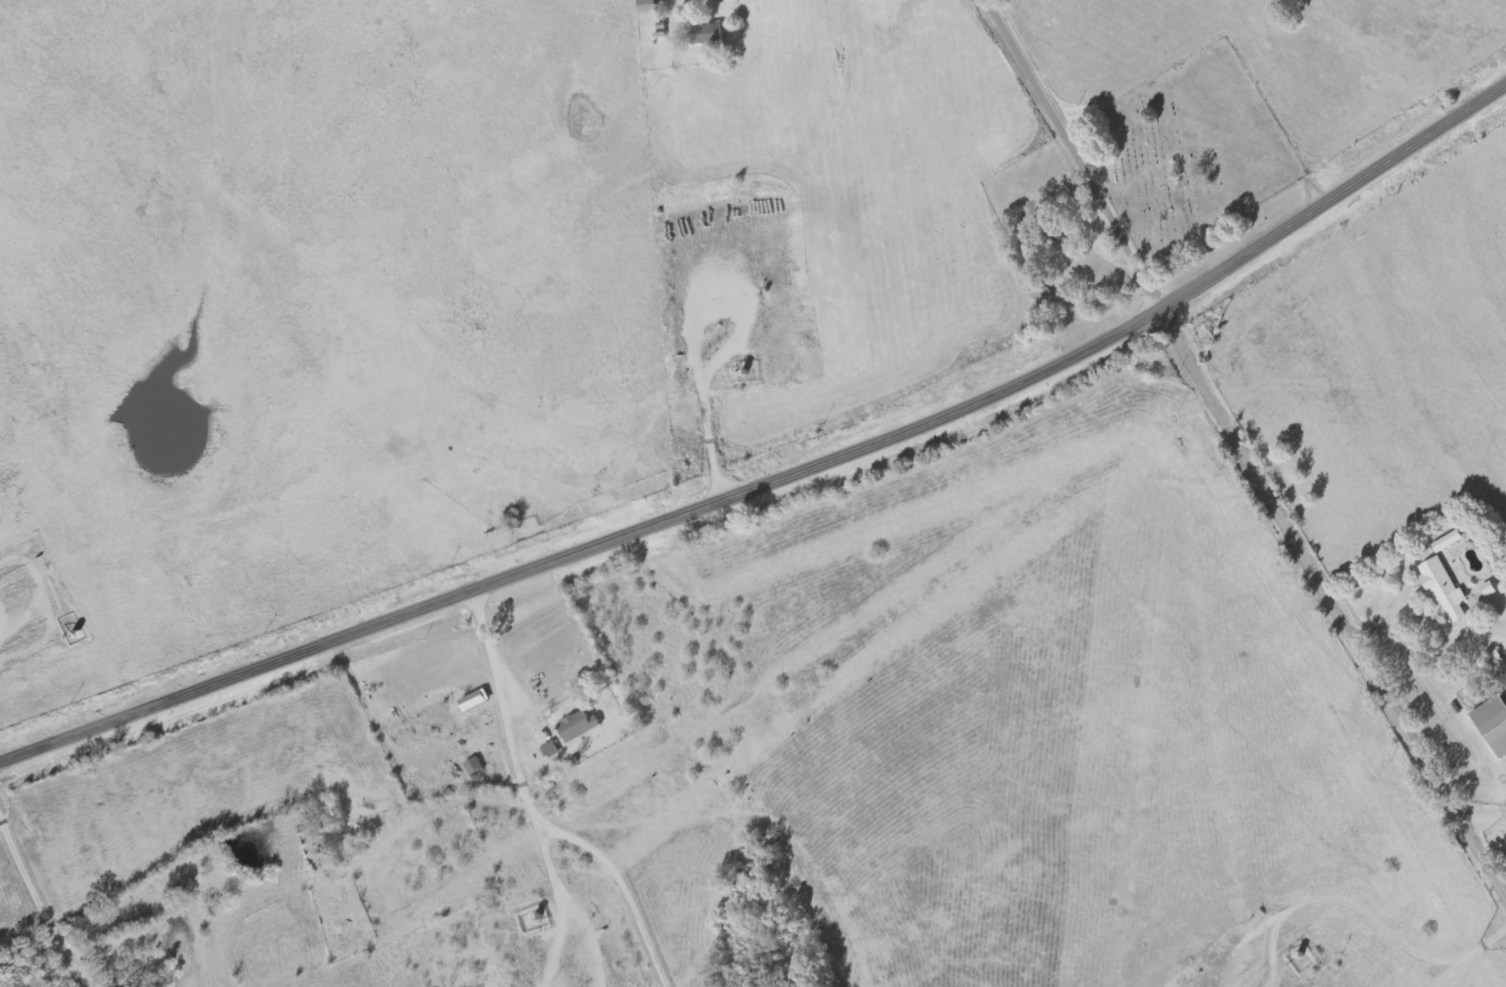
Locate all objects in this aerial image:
building: (649, 6)
building: (709, 35)
road: (1074, 153)
park: (1187, 153)
road: (779, 479)
dam: (185, 482)
building: (1450, 542)
building: (1491, 589)
building: (1447, 591)
road: (1333, 605)
building: (477, 701)
building: (1494, 723)
building: (580, 727)
building: (550, 751)
building: (475, 766)
road: (536, 816)

